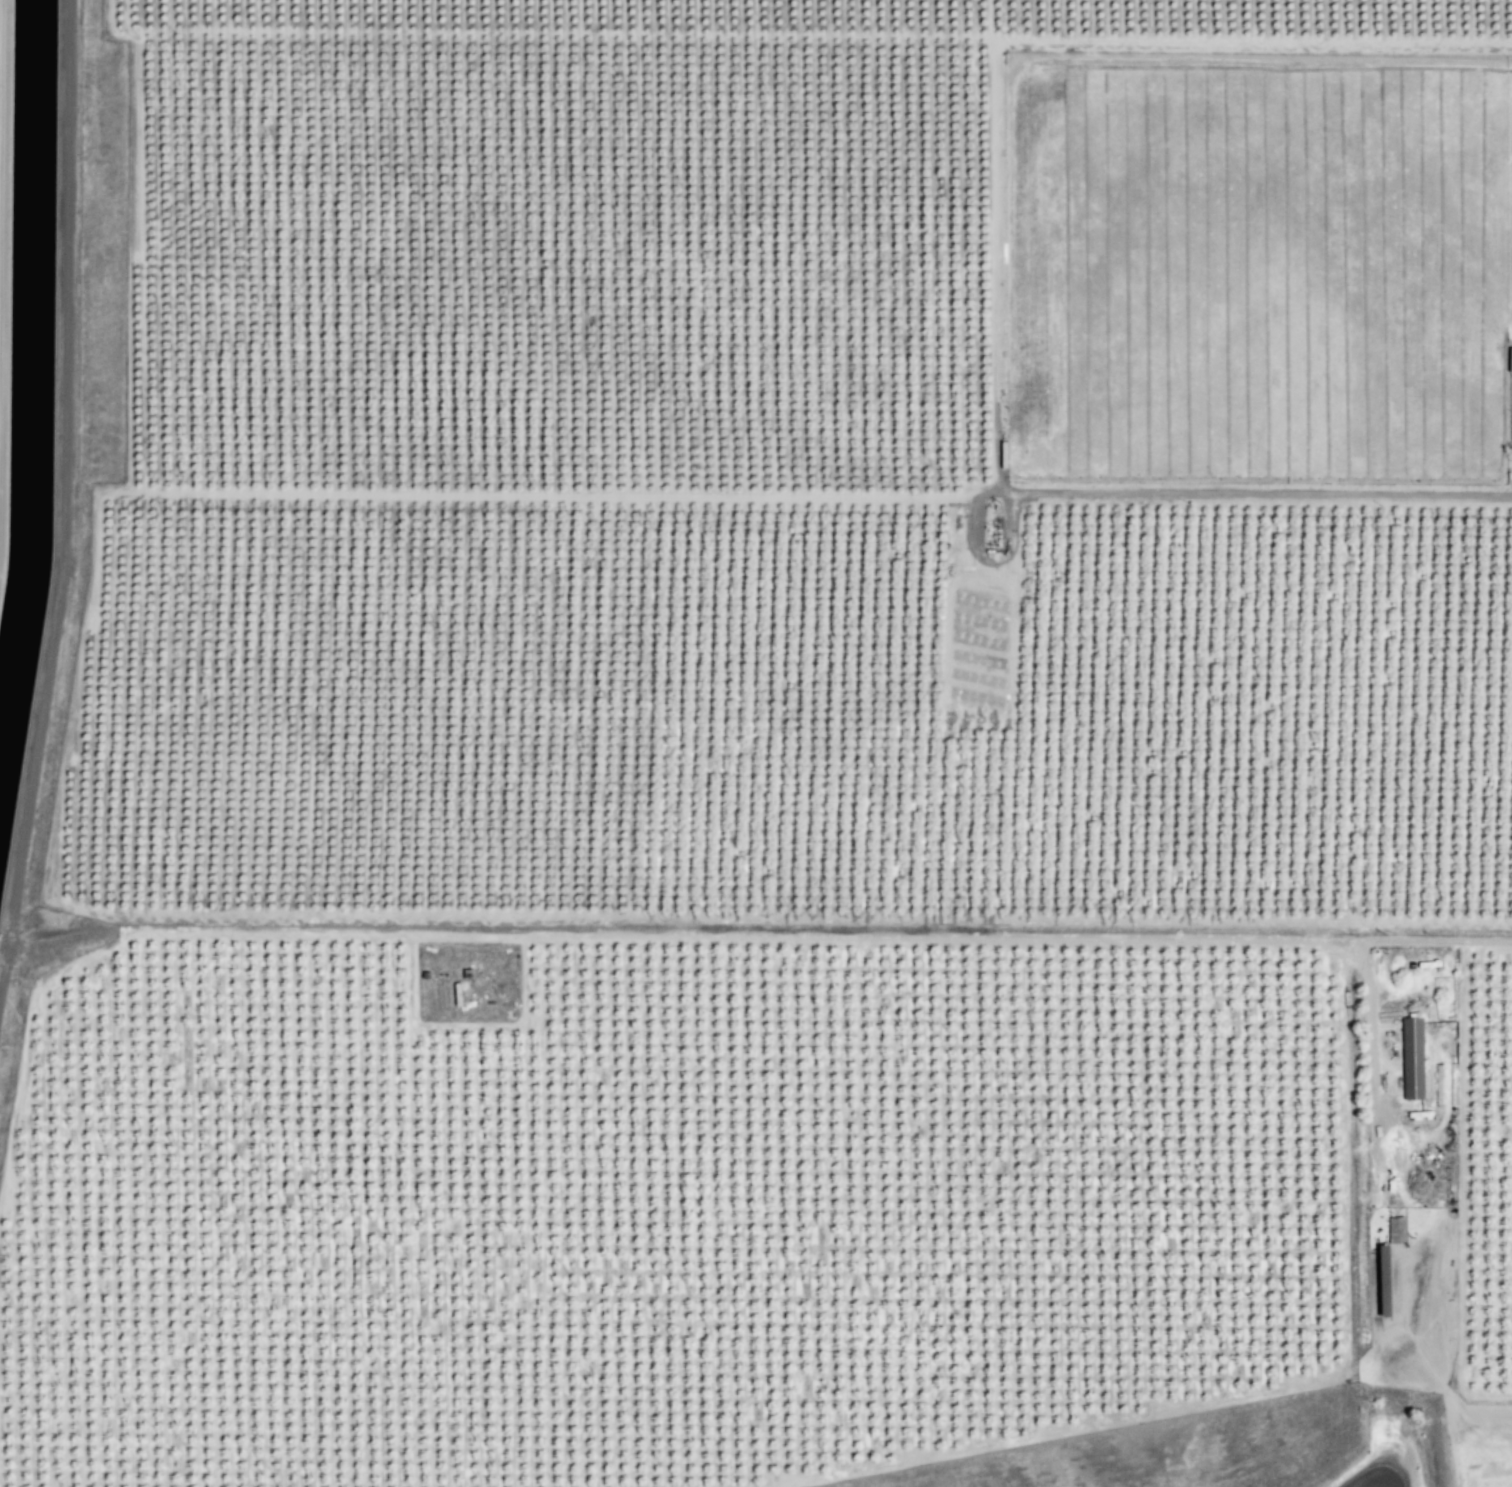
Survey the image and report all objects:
road: (1264, 489)
road: (832, 934)
building: (1410, 1058)
road: (1364, 1153)

